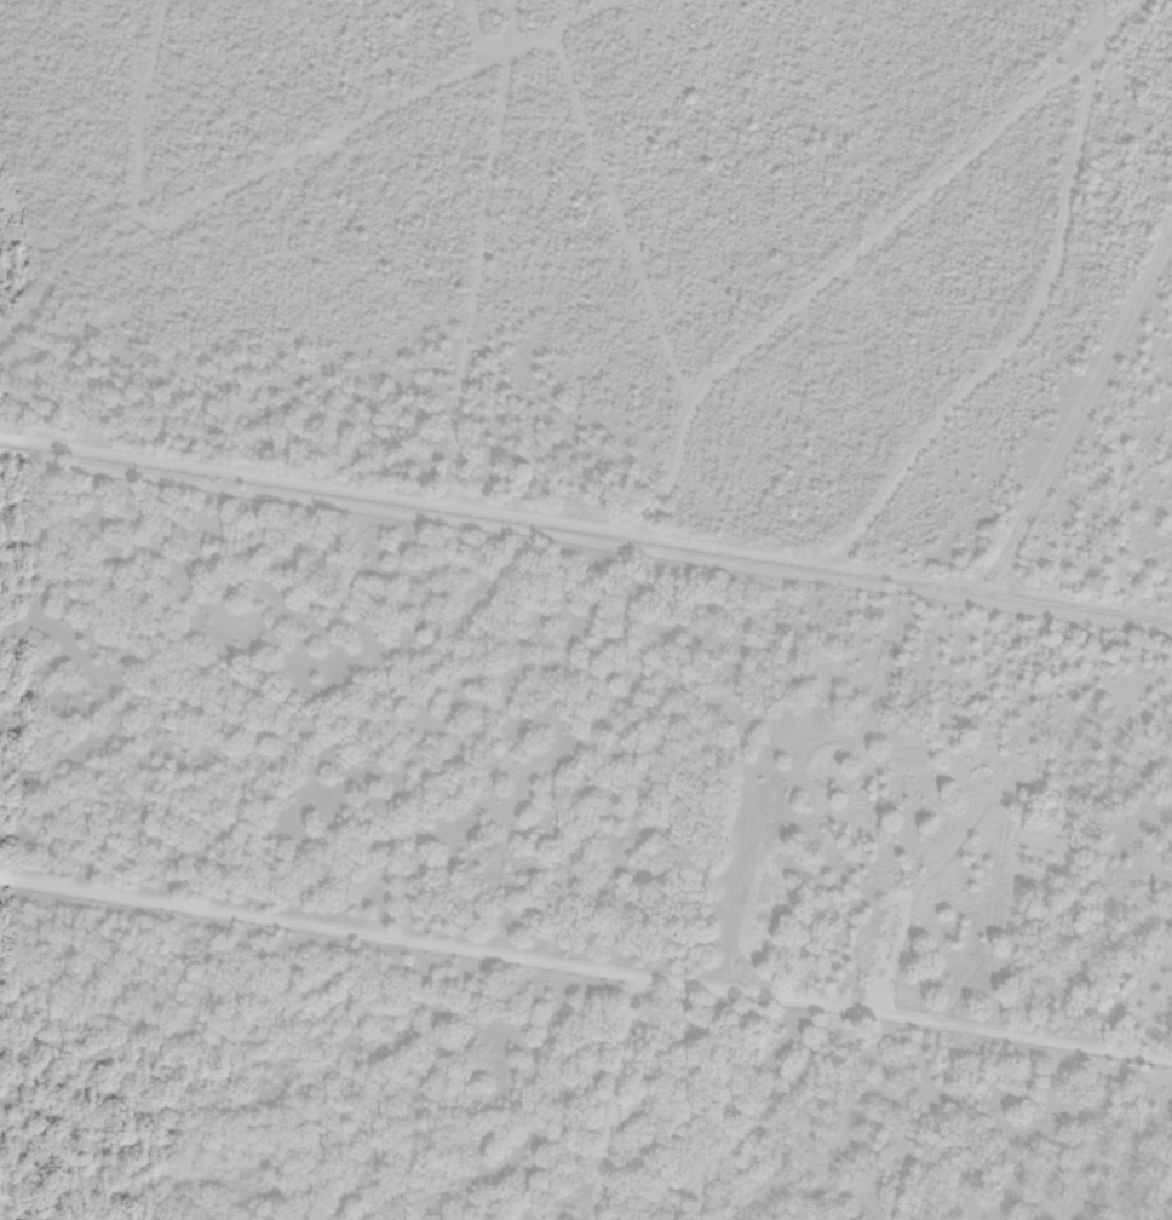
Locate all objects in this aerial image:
road: (932, 304)
road: (585, 522)

